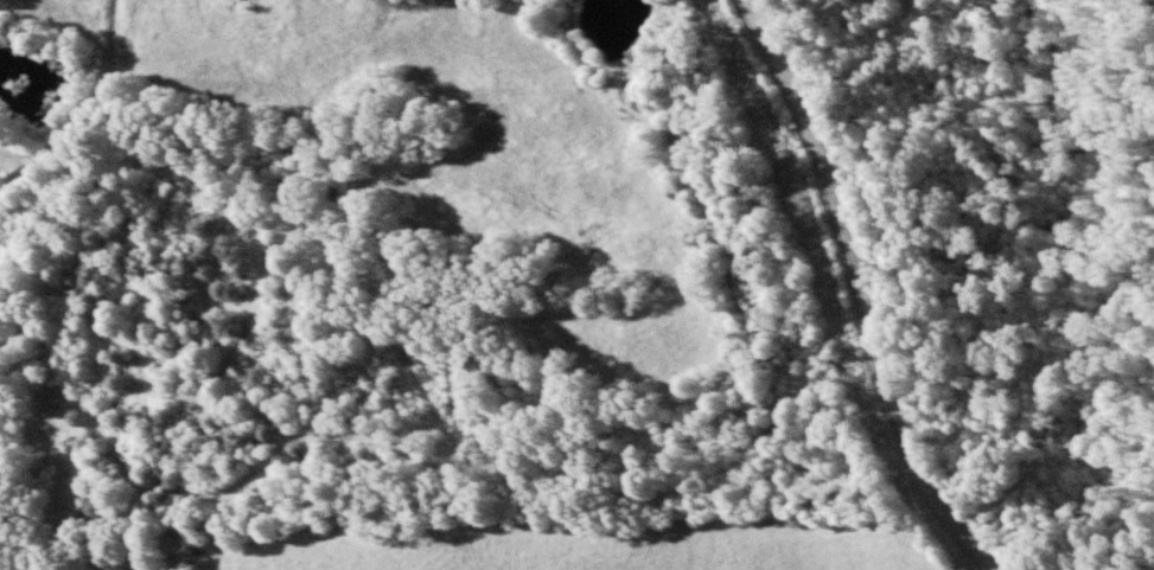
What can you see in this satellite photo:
road: (859, 292)

